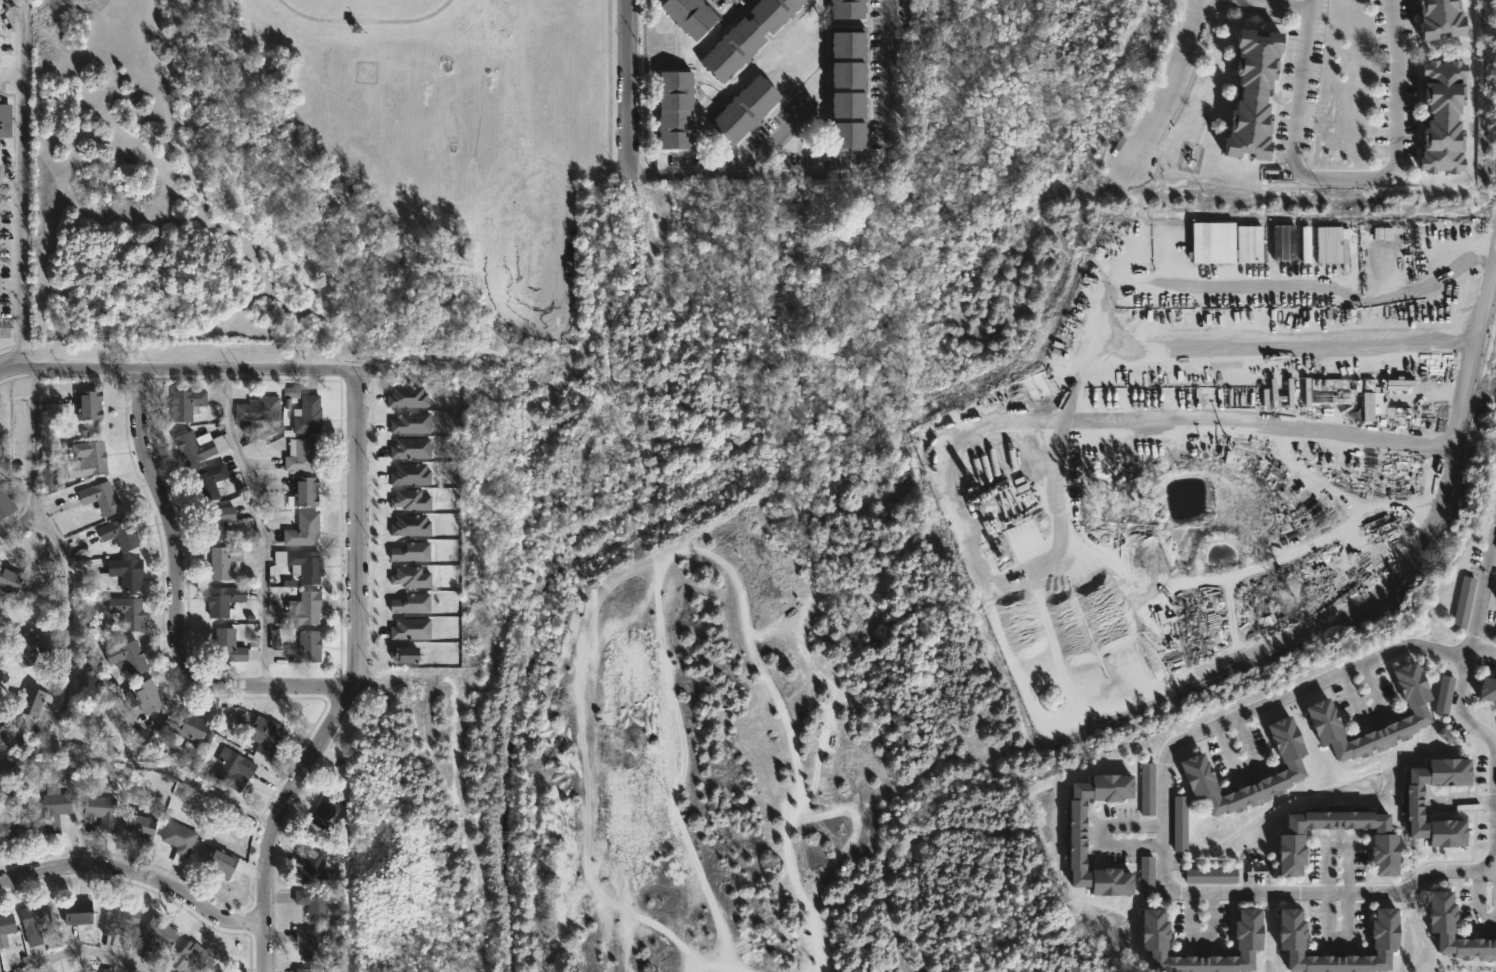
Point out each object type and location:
road: (1306, 1)
building: (844, 8)
park: (406, 11)
road: (372, 14)
building: (686, 15)
building: (1439, 18)
building: (743, 36)
road: (890, 48)
road: (8, 70)
road: (1169, 81)
road: (626, 86)
building: (845, 87)
building: (1250, 93)
building: (672, 109)
building: (741, 109)
building: (1441, 116)
building: (5, 120)
road: (795, 173)
road: (1340, 184)
road: (17, 186)
road: (178, 369)
building: (289, 392)
building: (404, 398)
building: (184, 404)
building: (86, 405)
building: (256, 411)
building: (304, 416)
building: (408, 423)
road: (29, 447)
building: (190, 447)
building: (407, 449)
building: (88, 455)
building: (299, 455)
building: (407, 474)
building: (48, 479)
building: (206, 482)
building: (301, 492)
building: (99, 498)
building: (6, 500)
building: (408, 500)
building: (213, 523)
road: (256, 524)
building: (409, 525)
building: (300, 531)
building: (118, 533)
road: (1080, 548)
building: (408, 552)
building: (223, 561)
building: (299, 565)
building: (124, 573)
building: (408, 577)
building: (8, 581)
road: (1483, 596)
road: (177, 601)
building: (221, 601)
building: (409, 603)
building: (1463, 603)
building: (300, 610)
building: (125, 612)
building: (408, 629)
road: (68, 635)
building: (226, 645)
building: (303, 648)
building: (23, 649)
building: (401, 655)
building: (124, 658)
road: (353, 682)
building: (1487, 690)
building: (141, 696)
building: (1442, 696)
building: (29, 701)
building: (855, 704)
building: (1318, 713)
building: (240, 719)
building: (184, 728)
road: (1484, 730)
building: (262, 736)
building: (3, 737)
building: (232, 767)
building: (1192, 768)
building: (1145, 788)
building: (1409, 805)
building: (52, 808)
building: (99, 810)
building: (324, 813)
road: (1495, 815)
building: (1085, 817)
building: (15, 823)
building: (1179, 824)
building: (138, 826)
building: (1071, 834)
road: (1099, 834)
building: (177, 841)
building: (1288, 842)
park: (472, 843)
road: (1163, 845)
building: (216, 862)
building: (309, 864)
road: (136, 875)
building: (1145, 876)
building: (1209, 877)
building: (311, 903)
building: (74, 912)
building: (116, 917)
building: (1441, 920)
building: (31, 922)
building: (6, 924)
building: (154, 934)
building: (1153, 940)
building: (1291, 941)
building: (307, 943)
road: (79, 950)
building: (189, 958)
building: (104, 969)
building: (305, 969)
building: (88, 971)
building: (219, 971)

